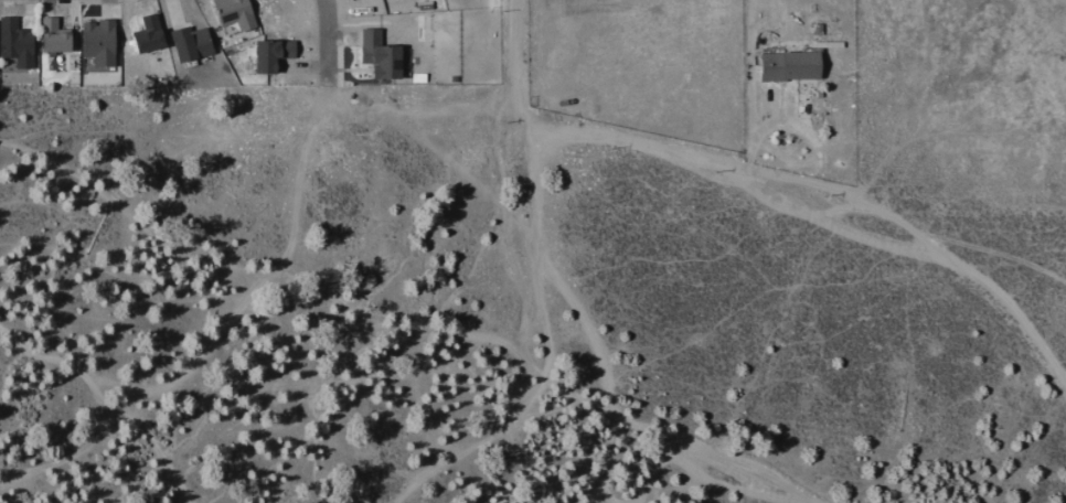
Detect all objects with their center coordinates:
building: (235, 13)
building: (149, 33)
building: (54, 35)
building: (99, 41)
building: (15, 42)
building: (191, 42)
road: (326, 51)
building: (273, 53)
building: (381, 54)
building: (791, 65)
road: (420, 105)
road: (832, 186)
road: (769, 197)
road: (524, 238)
road: (540, 311)
road: (223, 331)
road: (501, 343)
road: (117, 403)
road: (479, 446)

